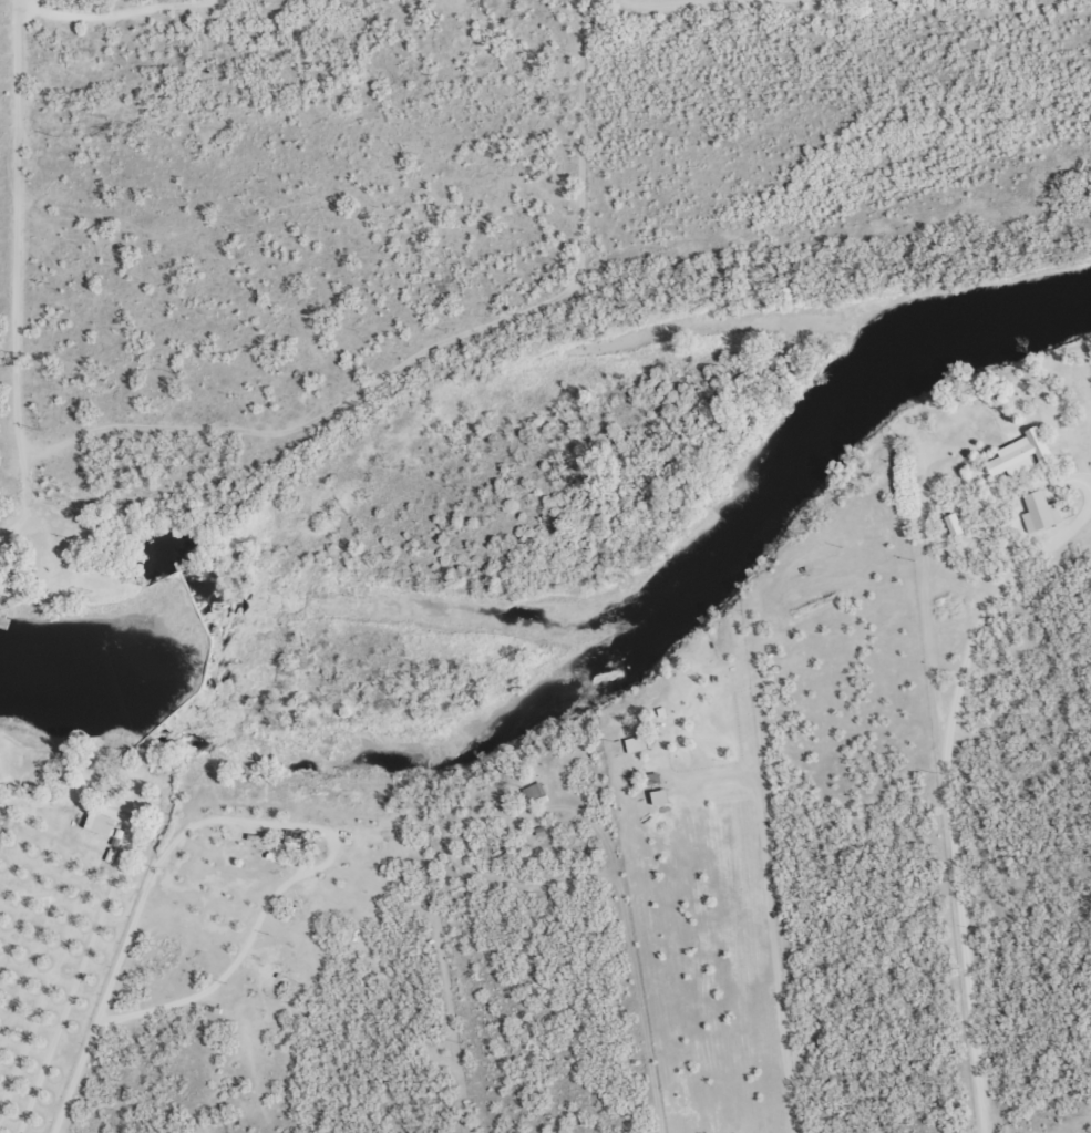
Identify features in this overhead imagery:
road: (112, 12)
road: (708, 243)
road: (20, 277)
building: (1020, 454)
building: (1040, 512)
building: (953, 524)
road: (255, 525)
dam: (209, 641)
river: (595, 663)
building: (635, 743)
building: (533, 791)
building: (659, 796)
road: (972, 818)
building: (100, 823)
road: (270, 1064)

